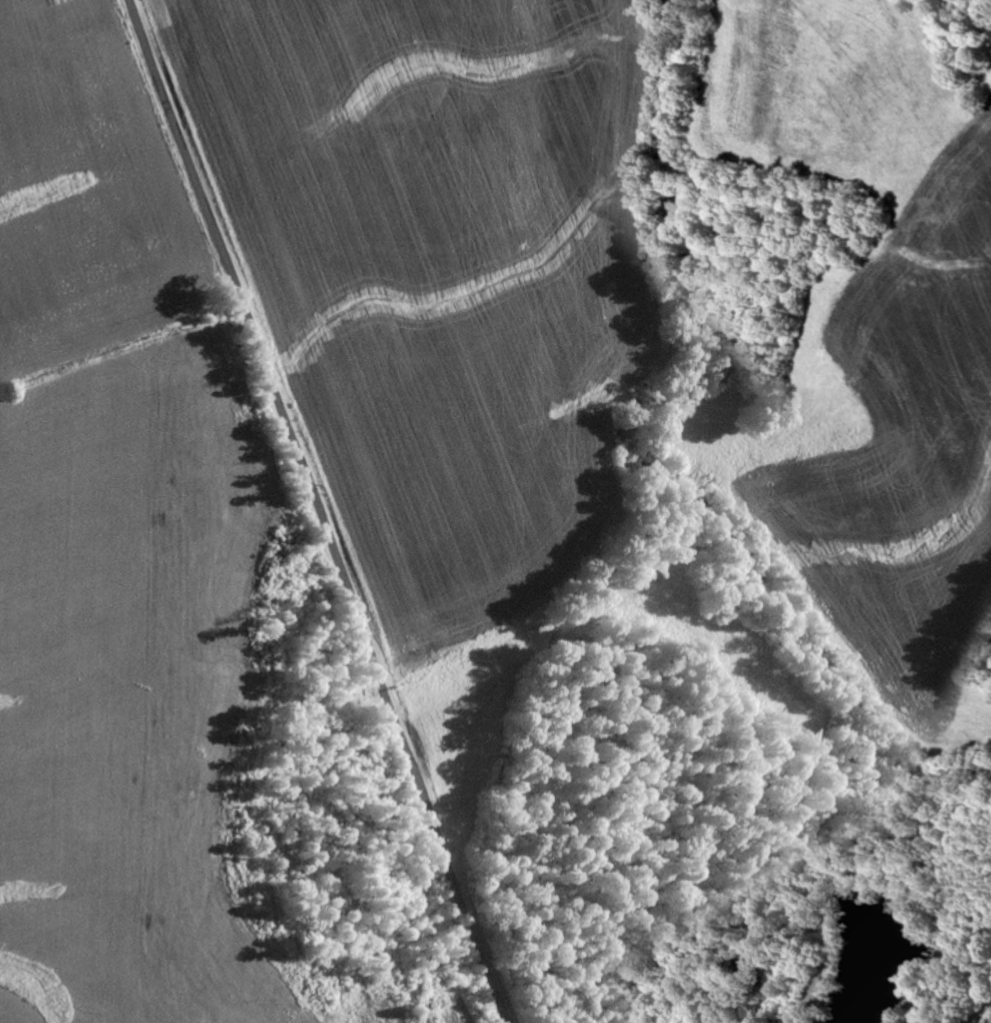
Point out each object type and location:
road: (316, 511)

